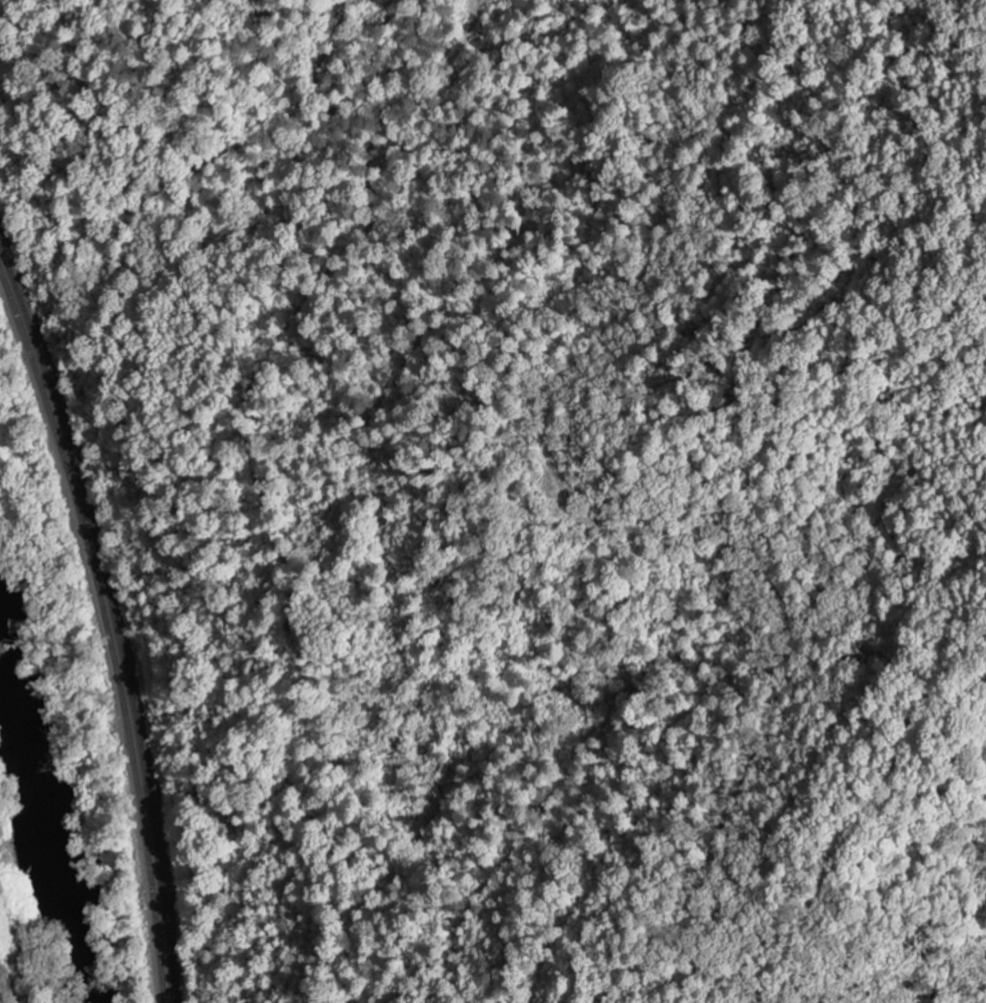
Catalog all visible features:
railway: (109, 619)
railway: (102, 633)
river: (32, 839)
building: (0, 1001)

